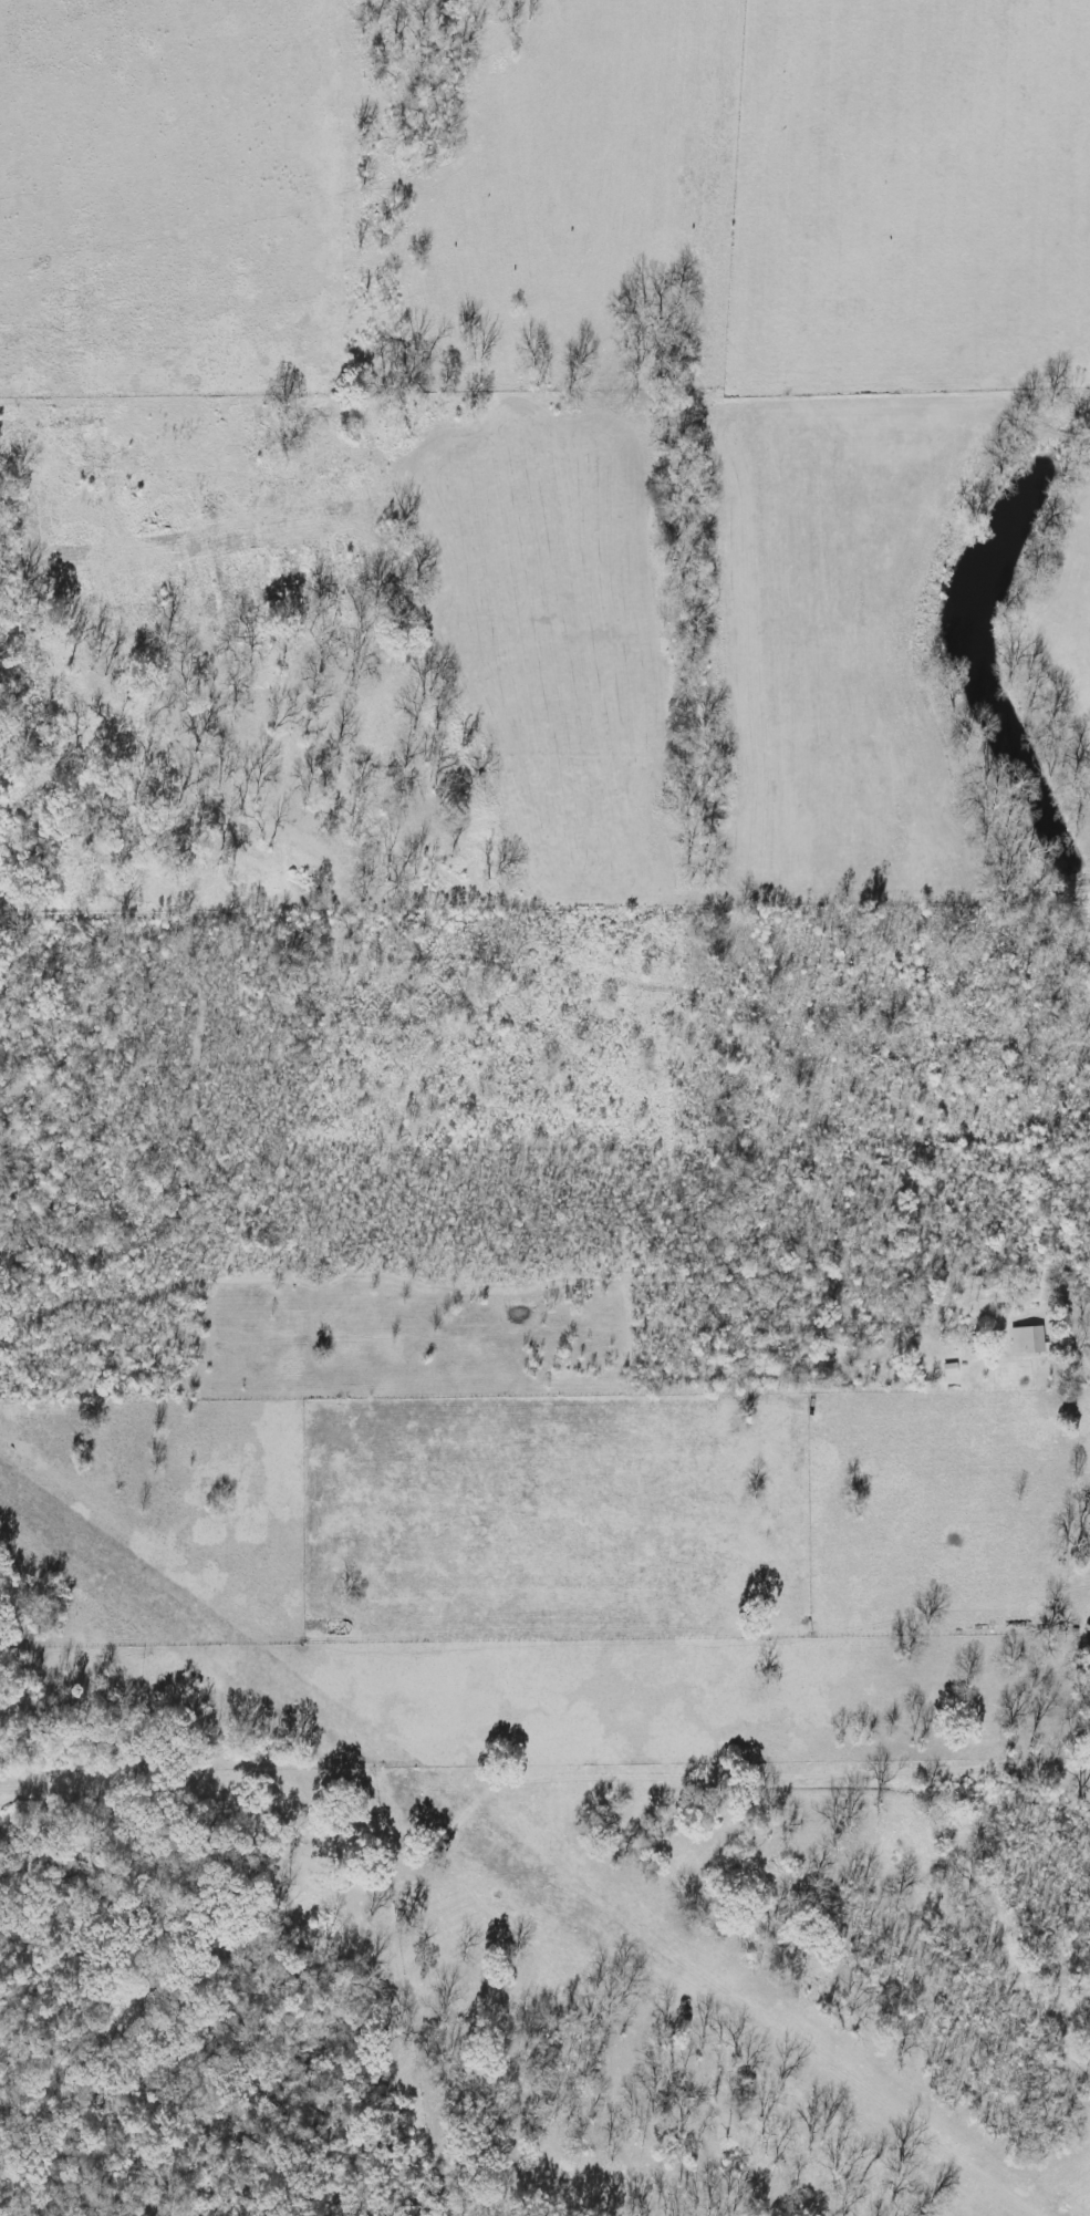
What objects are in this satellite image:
road: (1076, 1298)
building: (1027, 1340)

